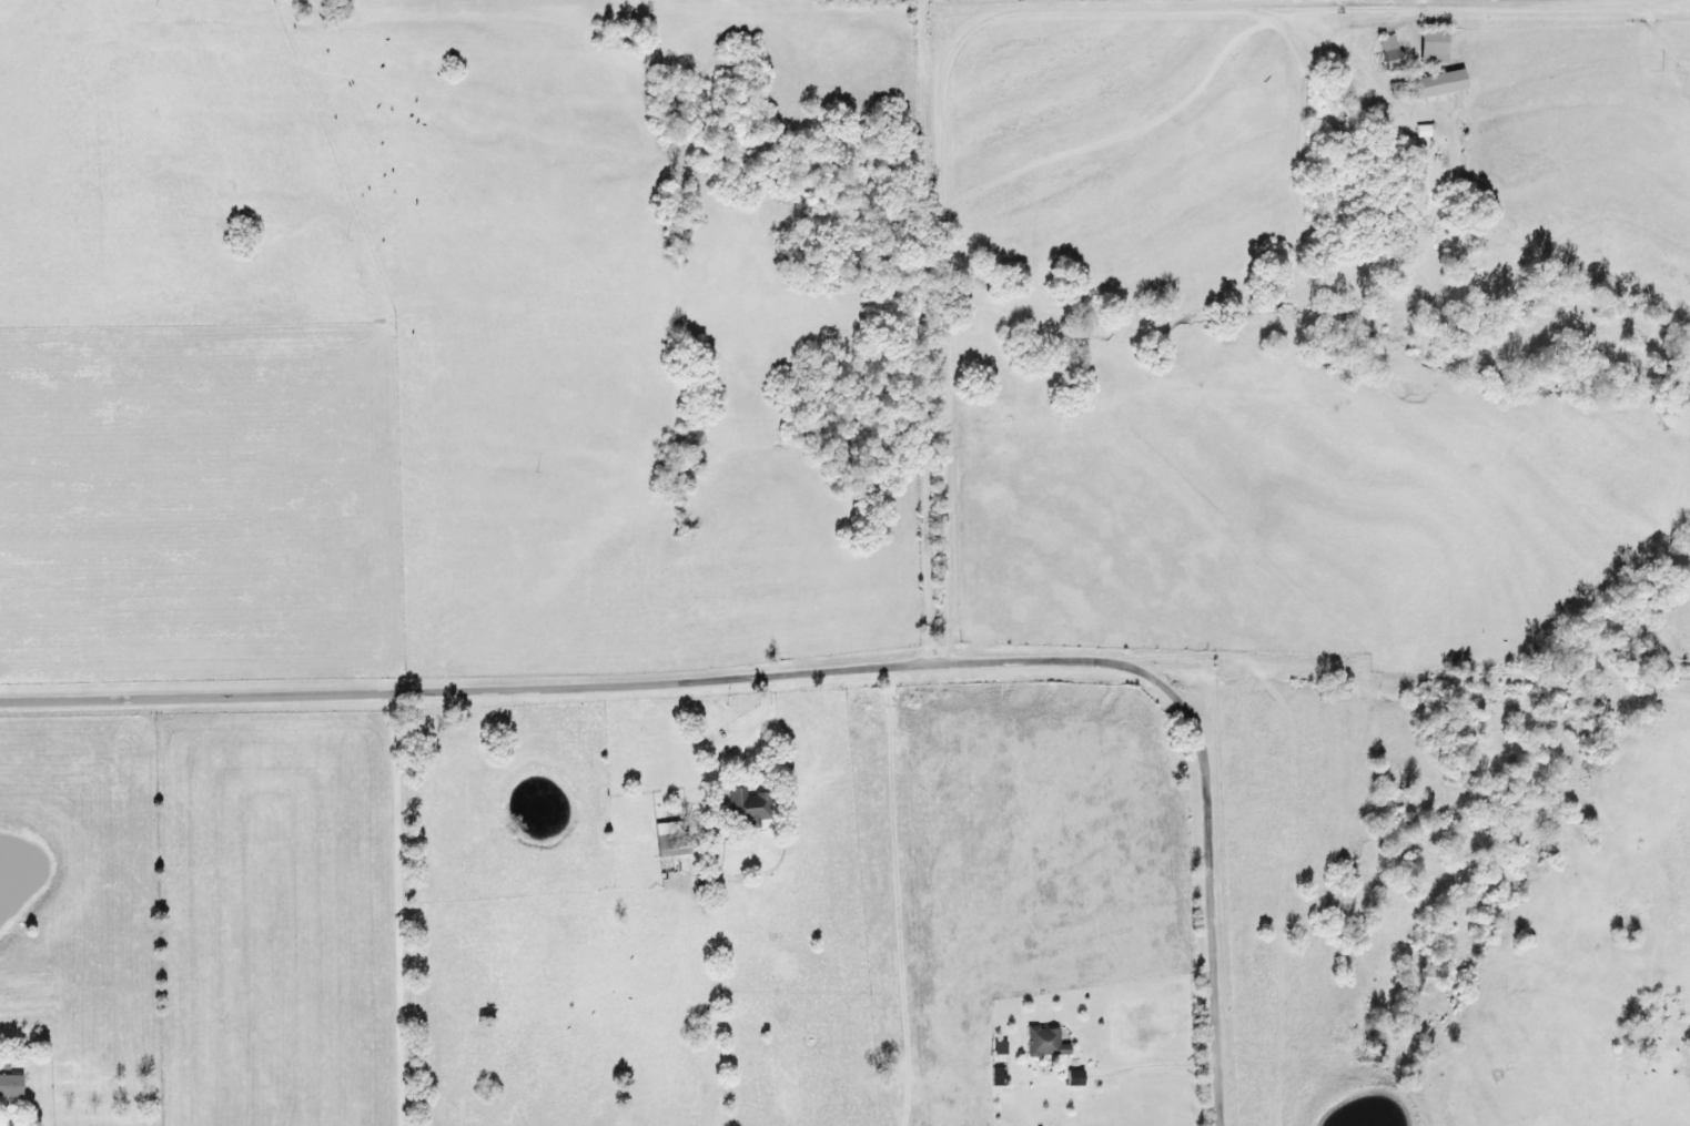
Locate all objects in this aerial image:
road: (1015, 30)
building: (1384, 43)
building: (1428, 45)
building: (1434, 83)
road: (923, 332)
road: (593, 686)
building: (742, 809)
building: (667, 840)
road: (892, 896)
road: (1215, 903)
road: (401, 907)
building: (1041, 1044)
building: (8, 1086)

